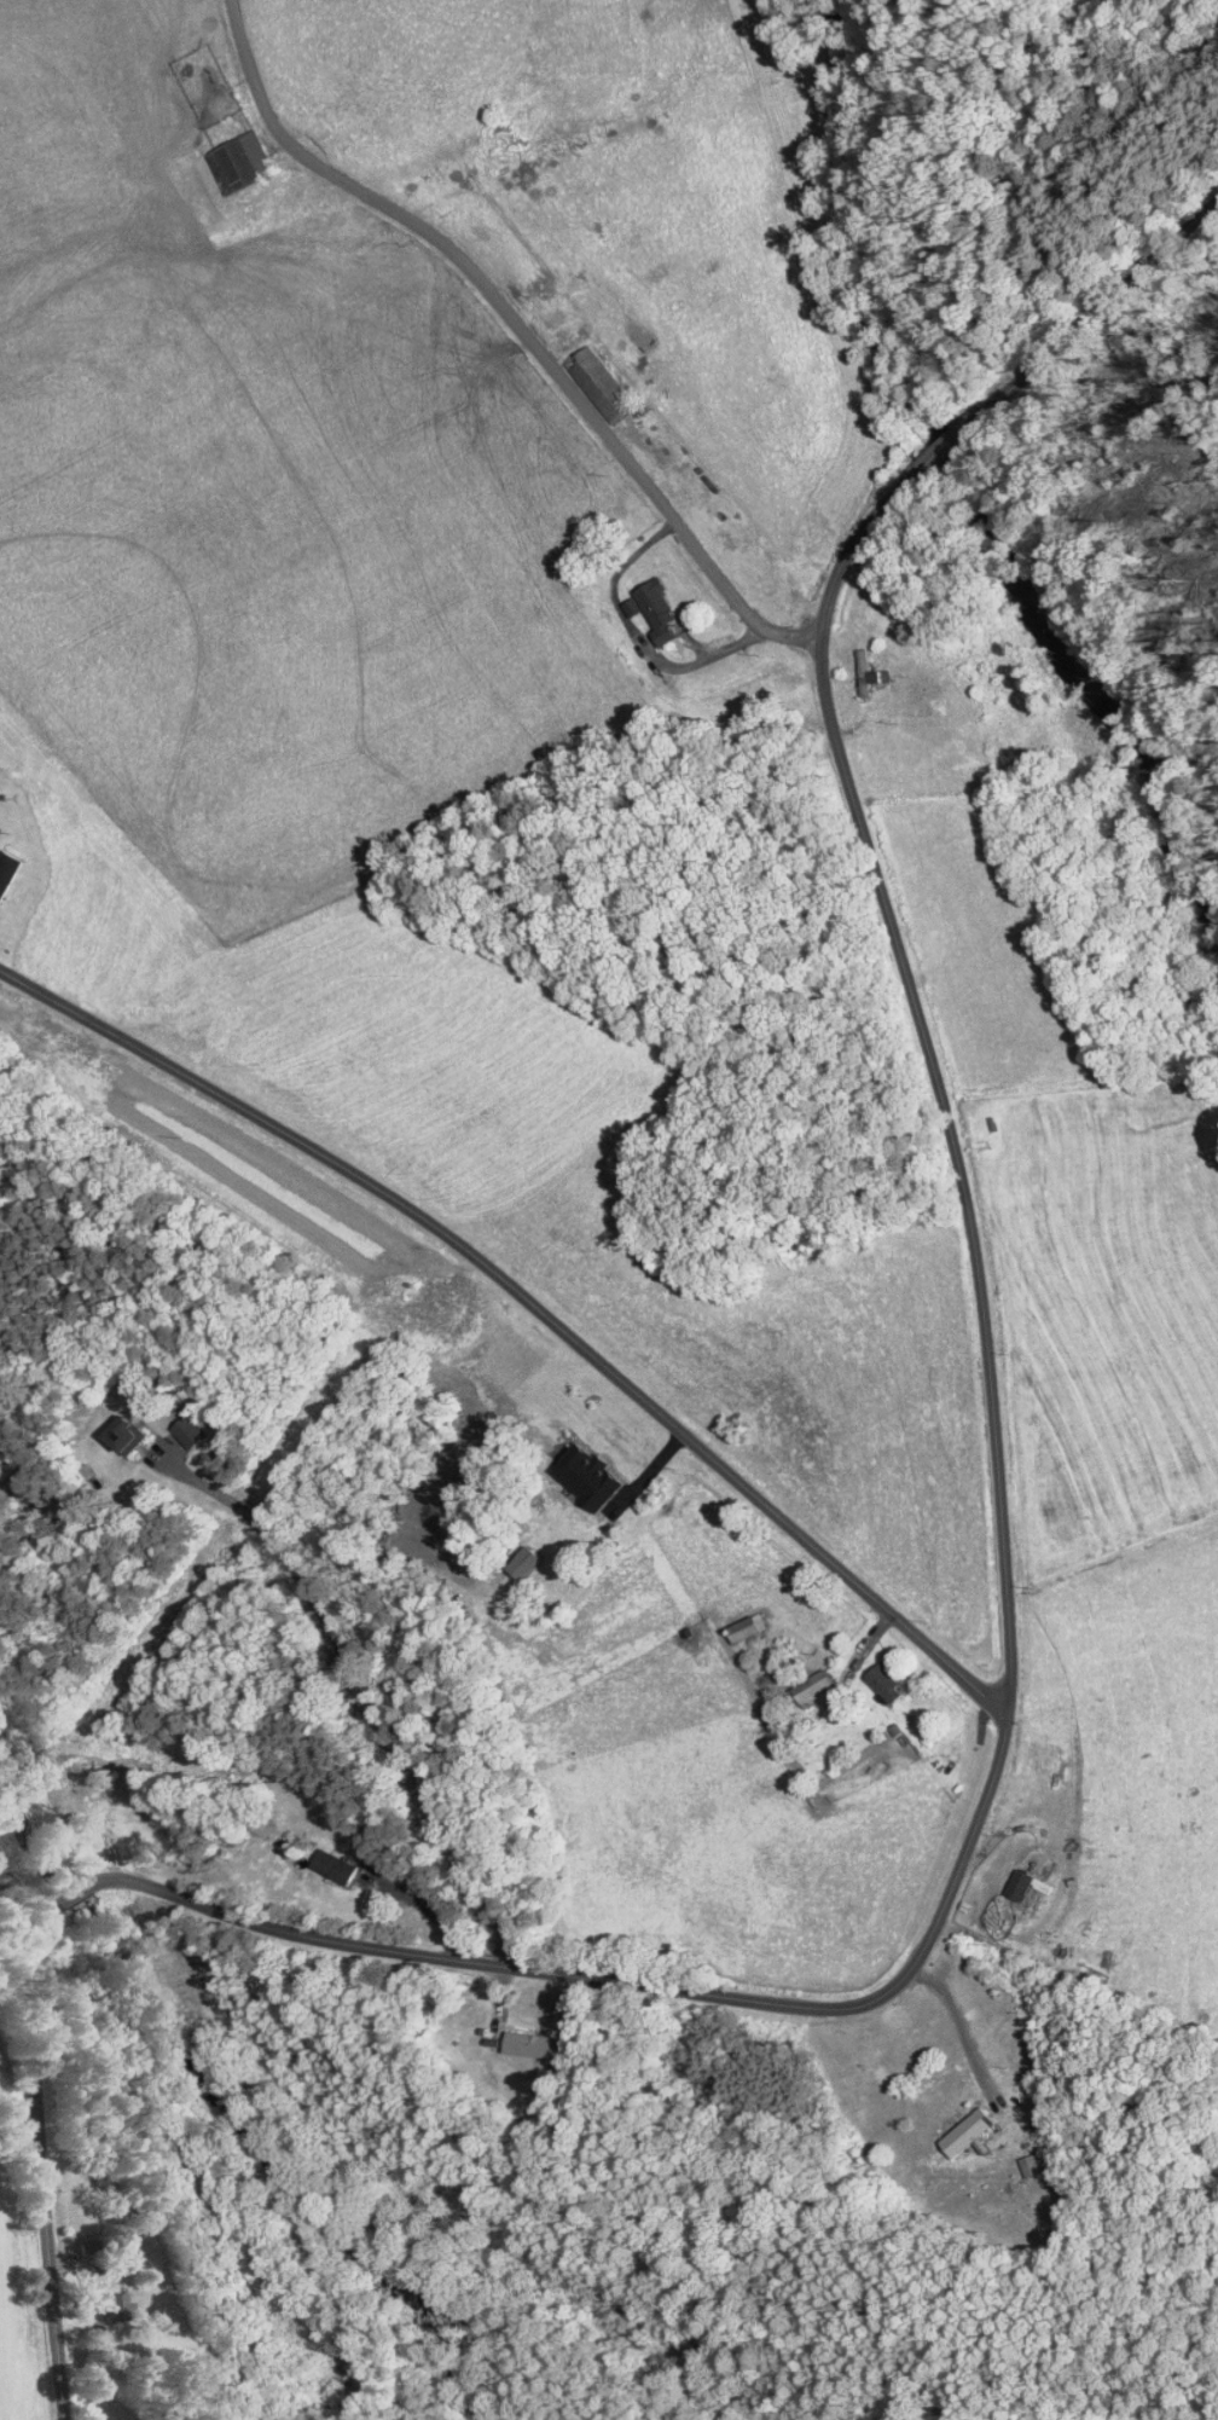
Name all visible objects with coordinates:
building: (221, 152)
road: (512, 318)
building: (582, 377)
road: (984, 404)
building: (638, 602)
road: (637, 636)
building: (852, 666)
building: (1, 852)
road: (530, 1303)
building: (170, 1422)
building: (105, 1426)
building: (568, 1467)
building: (729, 1619)
building: (866, 1675)
building: (794, 1680)
road: (362, 1694)
building: (1000, 1876)
road: (892, 1981)
road: (959, 2021)
building: (518, 2037)
building: (947, 2124)
building: (1013, 2156)
building: (95, 2297)

